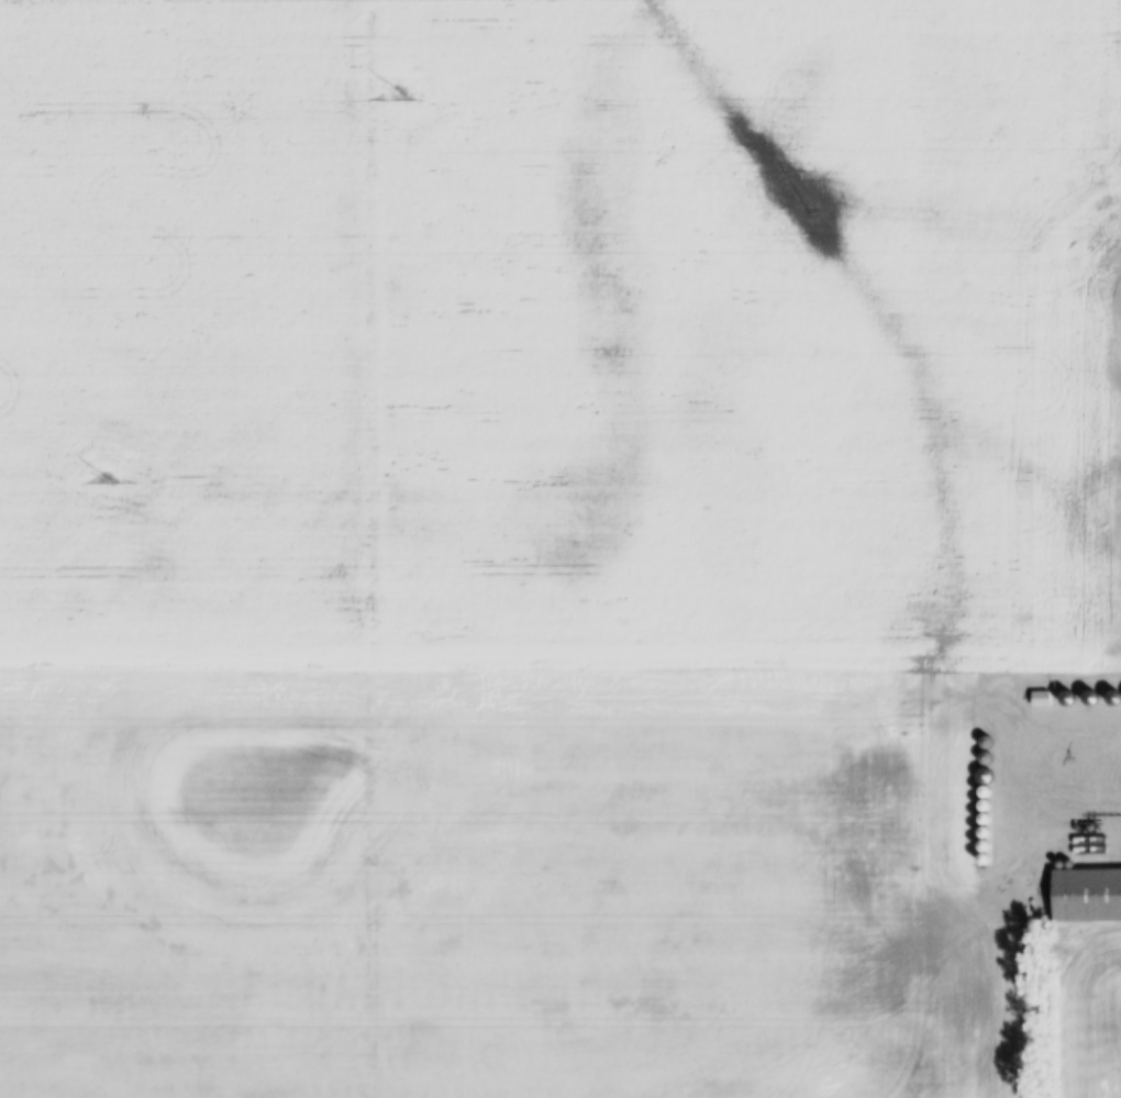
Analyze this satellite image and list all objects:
building: (1067, 698)
silo: (1067, 698)
building: (1090, 698)
silo: (1090, 698)
building: (1114, 698)
silo: (1114, 698)
building: (1041, 699)
building: (986, 742)
silo: (986, 742)
building: (986, 757)
silo: (986, 757)
building: (984, 775)
silo: (984, 775)
building: (985, 791)
silo: (985, 791)
building: (984, 805)
silo: (984, 805)
building: (984, 819)
silo: (984, 819)
building: (984, 832)
silo: (984, 832)
building: (984, 845)
silo: (984, 845)
building: (984, 858)
silo: (984, 858)
building: (1087, 895)

